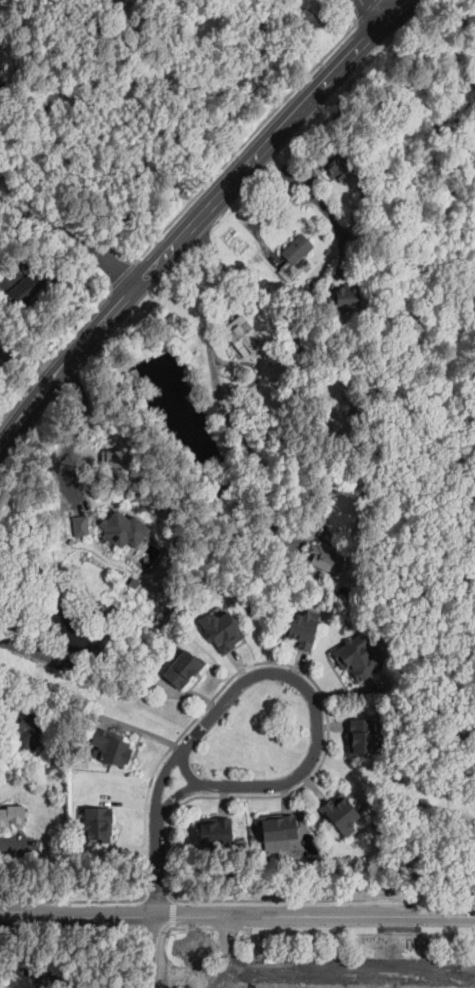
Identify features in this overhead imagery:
road: (350, 10)
road: (371, 12)
road: (395, 12)
road: (332, 75)
road: (247, 135)
building: (339, 163)
road: (299, 197)
road: (322, 205)
road: (209, 207)
road: (270, 210)
road: (72, 234)
building: (295, 257)
building: (312, 284)
building: (24, 286)
building: (347, 300)
building: (66, 327)
building: (242, 335)
road: (89, 338)
road: (59, 344)
building: (255, 374)
road: (220, 403)
road: (21, 417)
road: (72, 428)
building: (111, 461)
building: (80, 525)
building: (117, 530)
building: (325, 557)
building: (132, 581)
building: (302, 628)
building: (223, 630)
building: (71, 631)
building: (115, 631)
road: (21, 647)
building: (358, 657)
building: (182, 668)
building: (4, 683)
road: (211, 716)
road: (328, 727)
building: (32, 729)
building: (363, 737)
building: (110, 746)
road: (188, 771)
road: (267, 784)
building: (13, 815)
building: (342, 815)
building: (98, 823)
building: (276, 828)
building: (214, 830)
road: (14, 843)
road: (157, 866)
road: (157, 896)
road: (173, 911)
road: (281, 914)
road: (44, 915)
road: (78, 927)
road: (316, 927)
road: (156, 951)
road: (194, 962)

